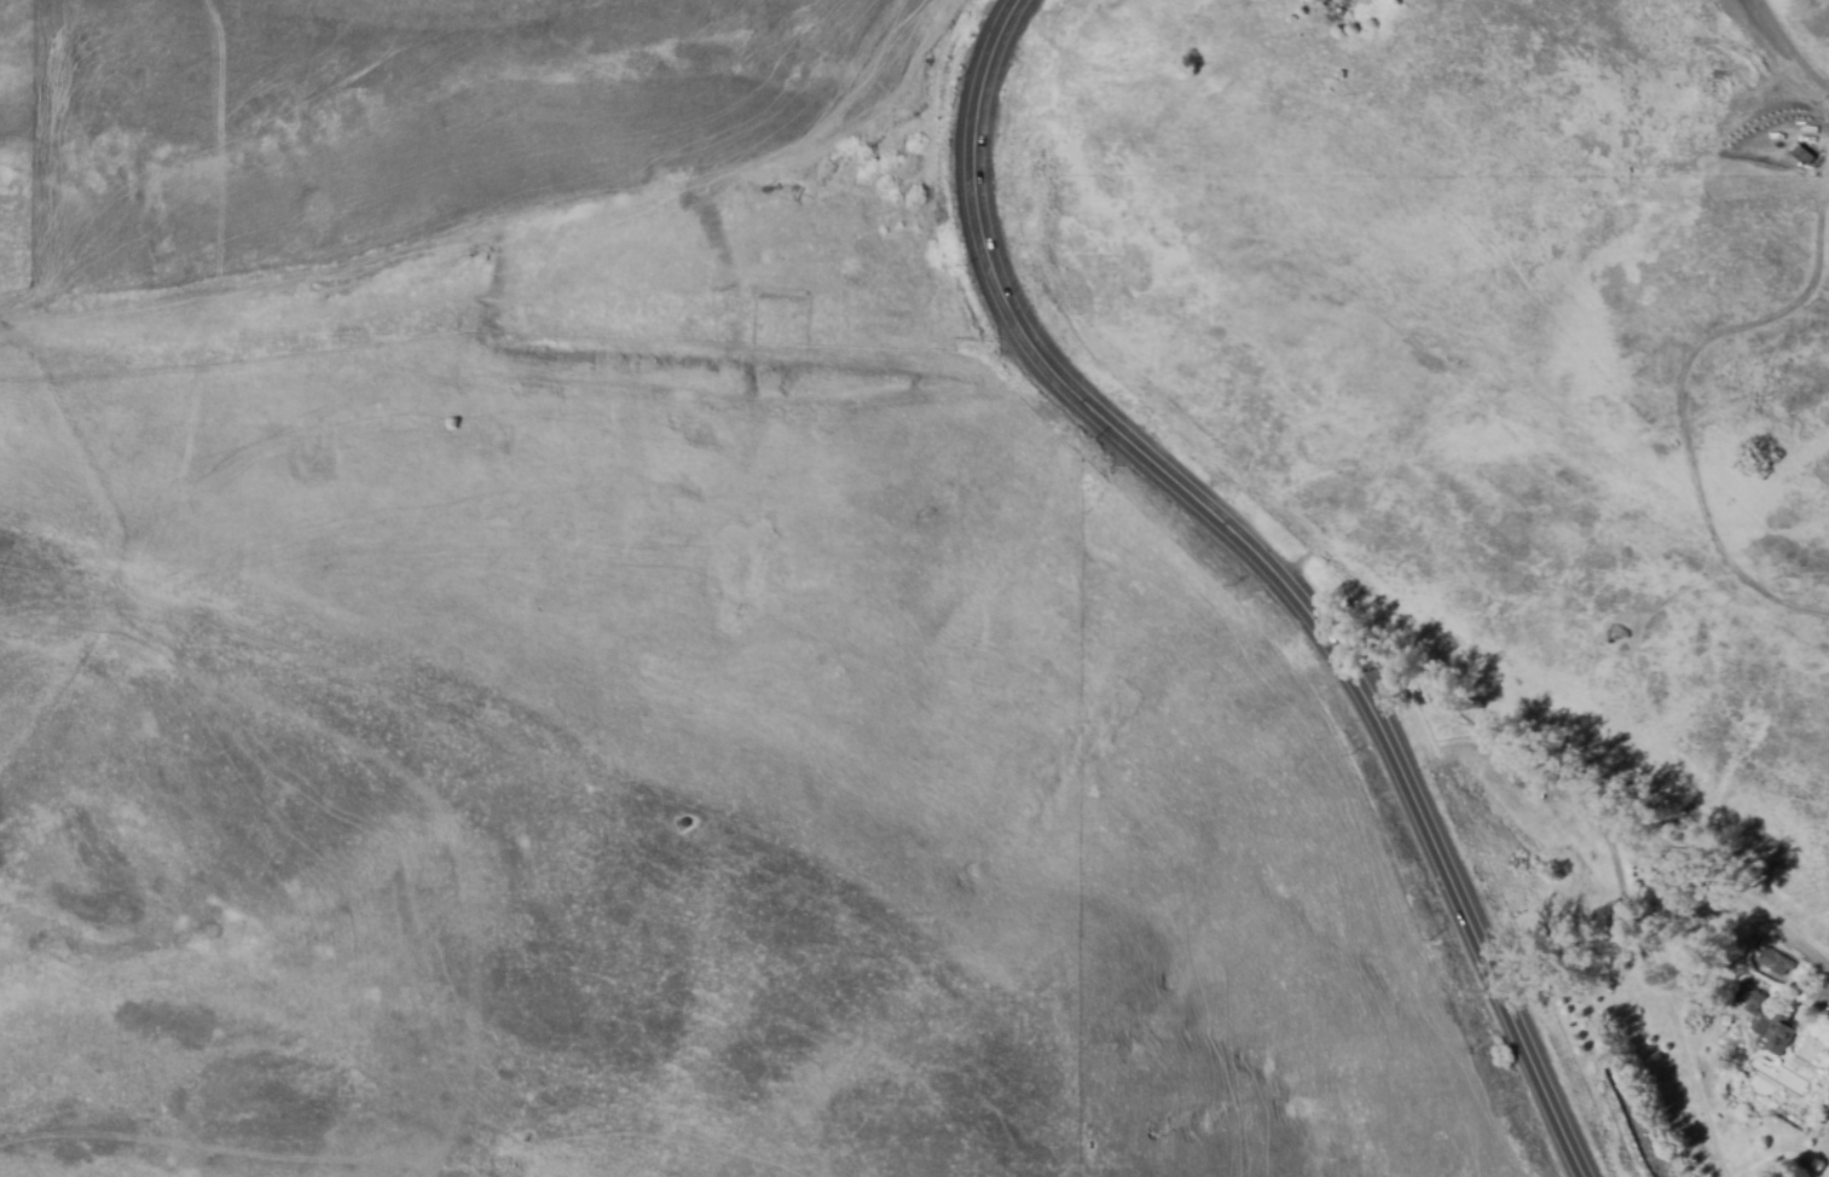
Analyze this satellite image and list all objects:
road: (1792, 46)
building: (1806, 155)
road: (1266, 567)
road: (1590, 801)
building: (1776, 964)
road: (1662, 993)
building: (1754, 1008)
building: (1773, 1033)

